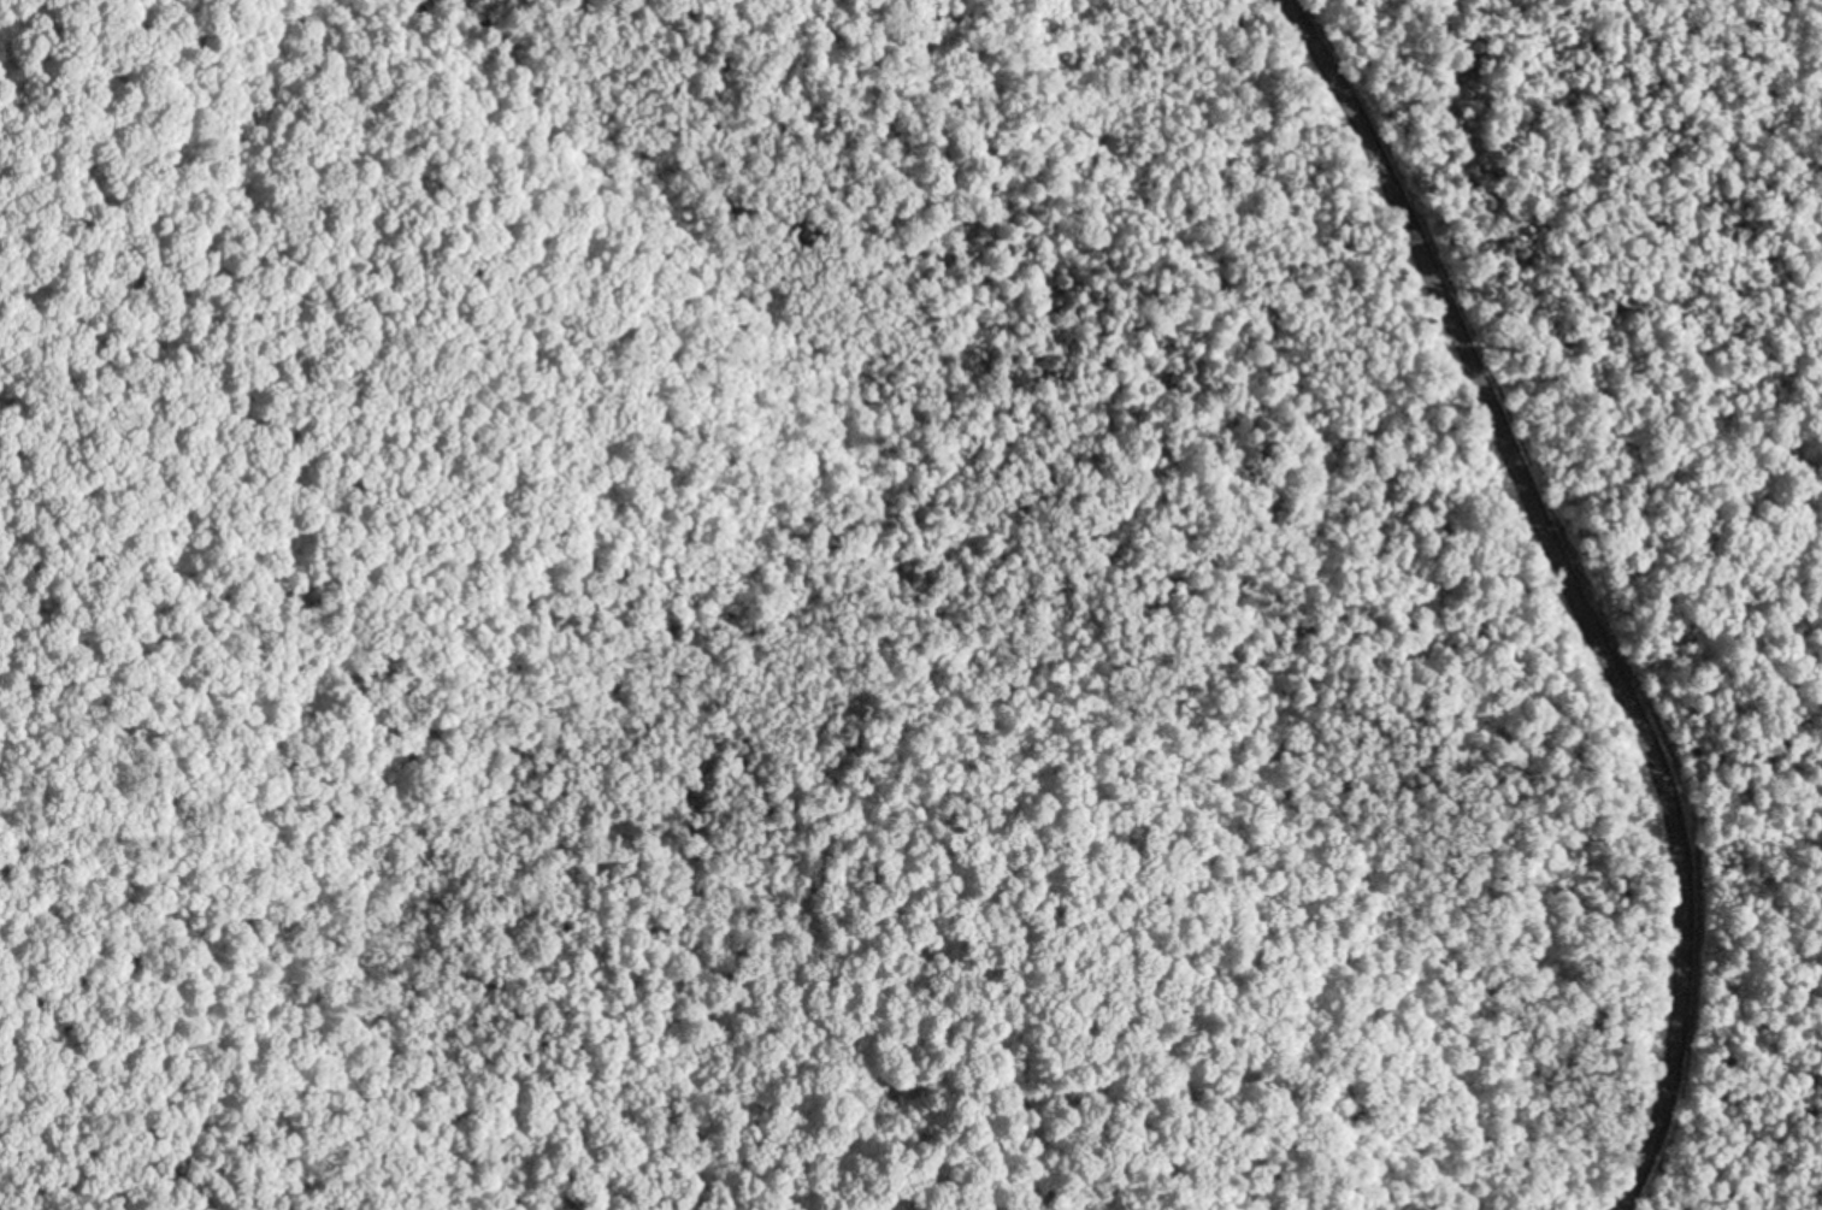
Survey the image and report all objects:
road: (1574, 585)
road: (1753, 873)

